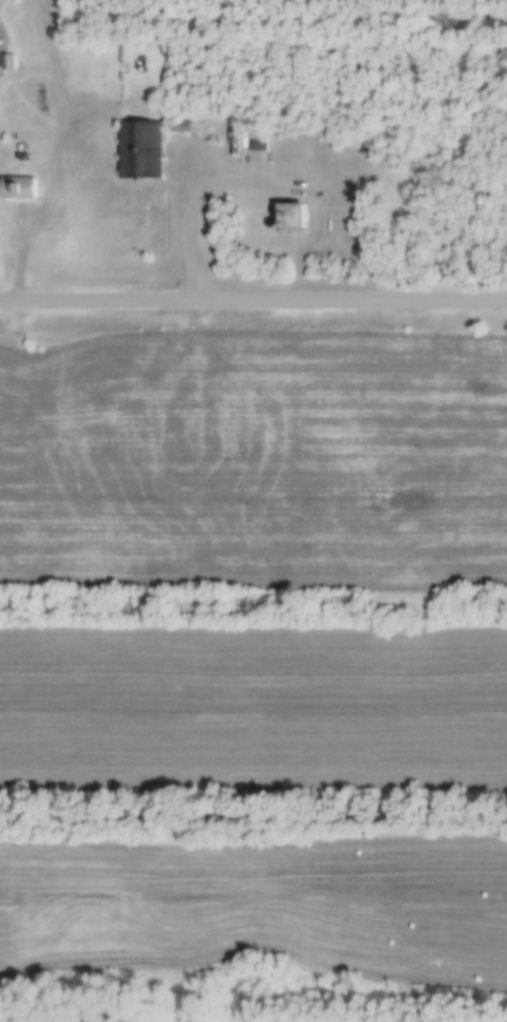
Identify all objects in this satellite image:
building: (9, 63)
road: (79, 145)
building: (137, 151)
building: (18, 189)
road: (196, 198)
building: (287, 219)
road: (33, 223)
road: (253, 302)

